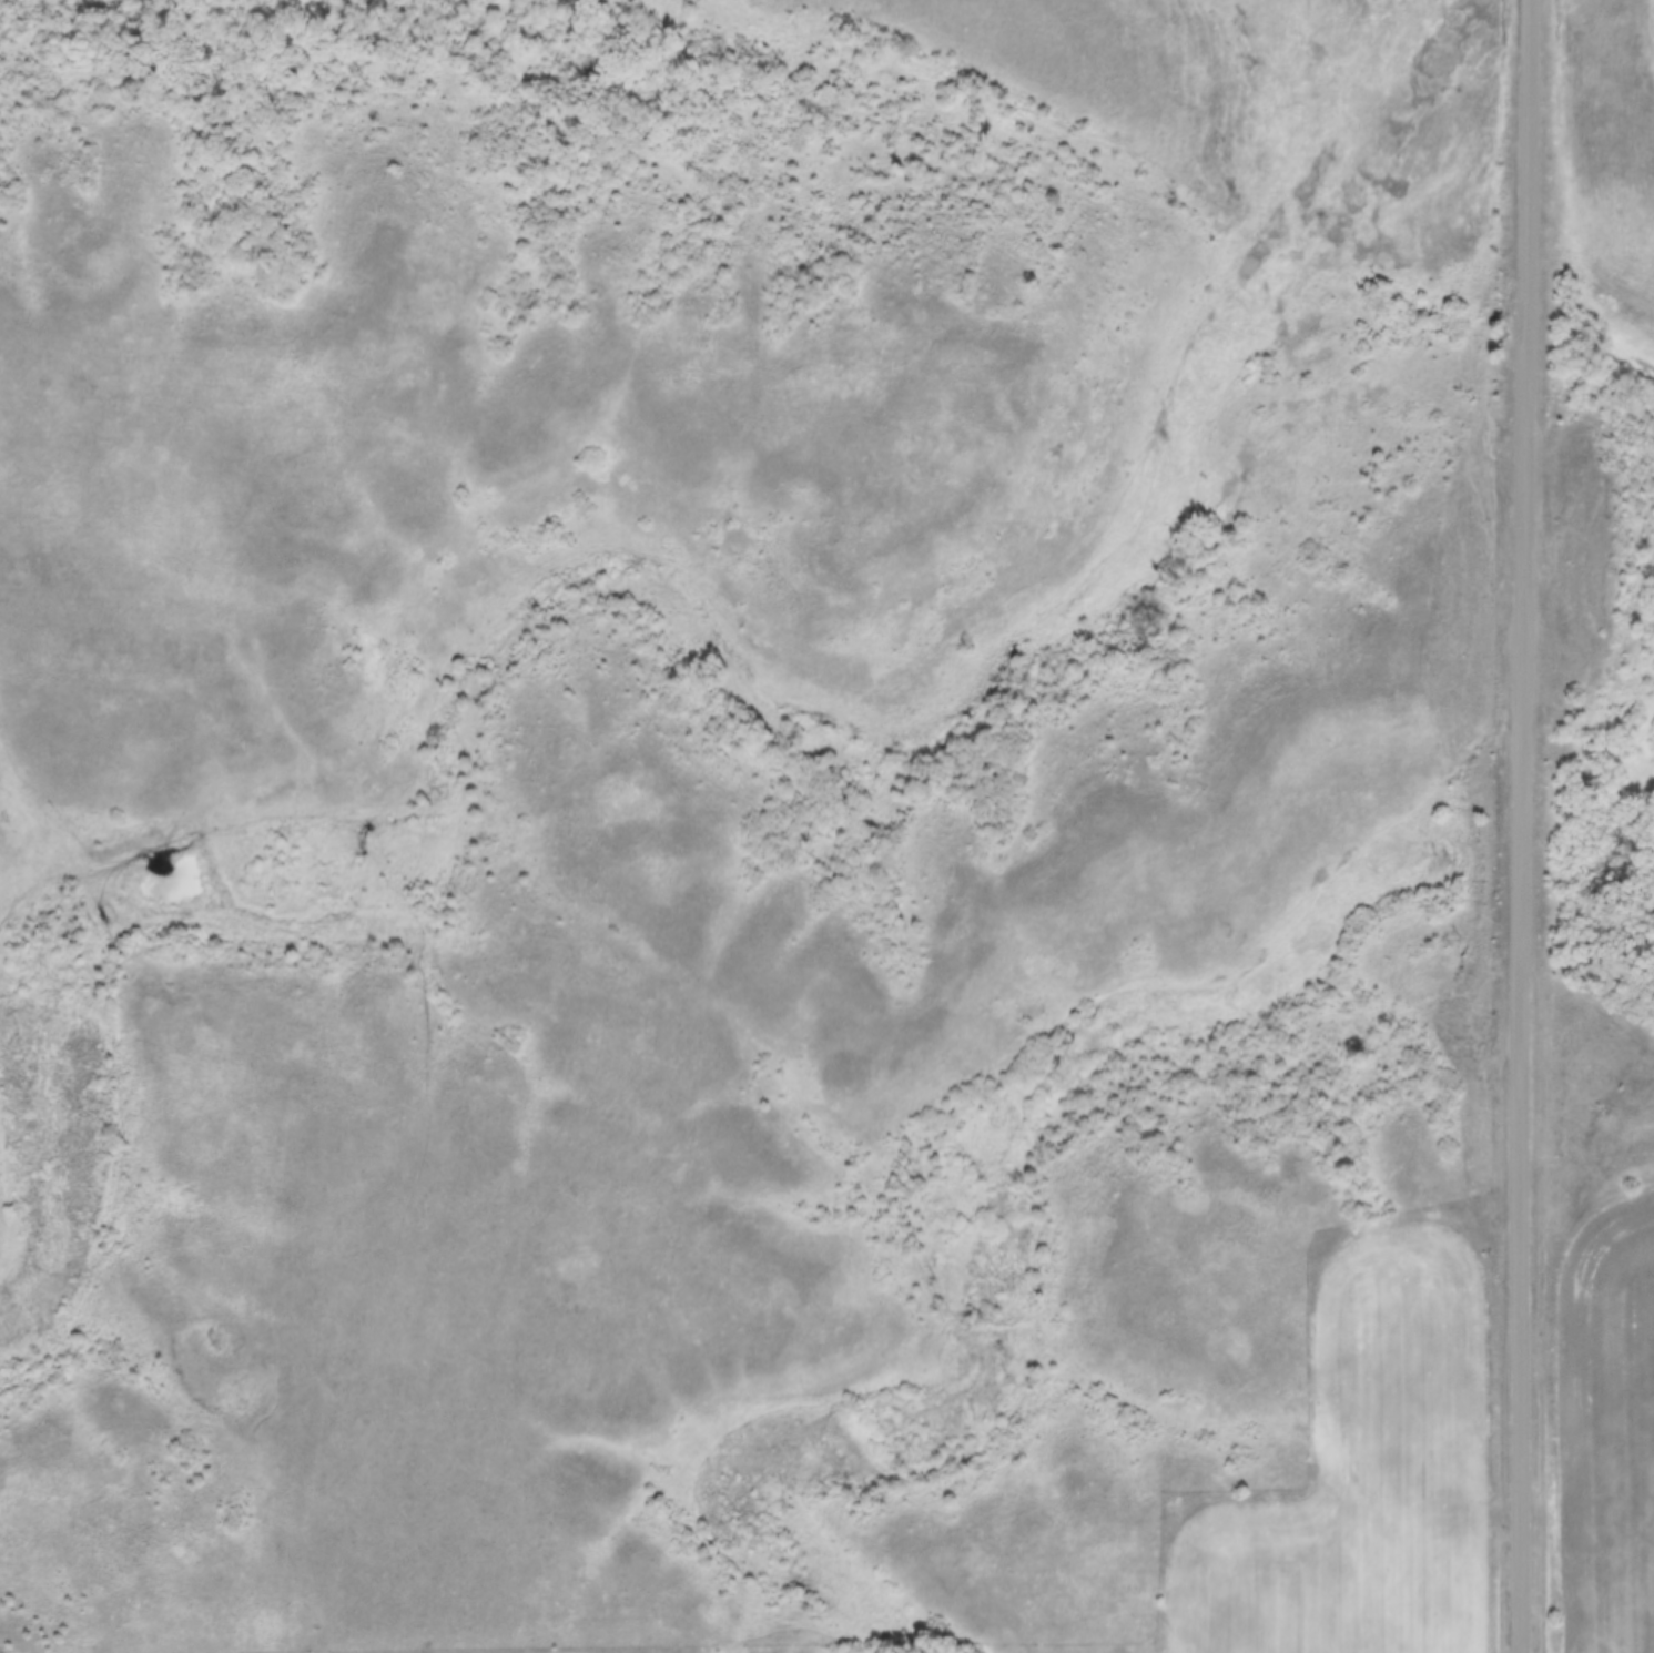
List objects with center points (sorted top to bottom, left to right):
road: (1592, 311)
road: (1522, 825)
road: (1587, 1174)

